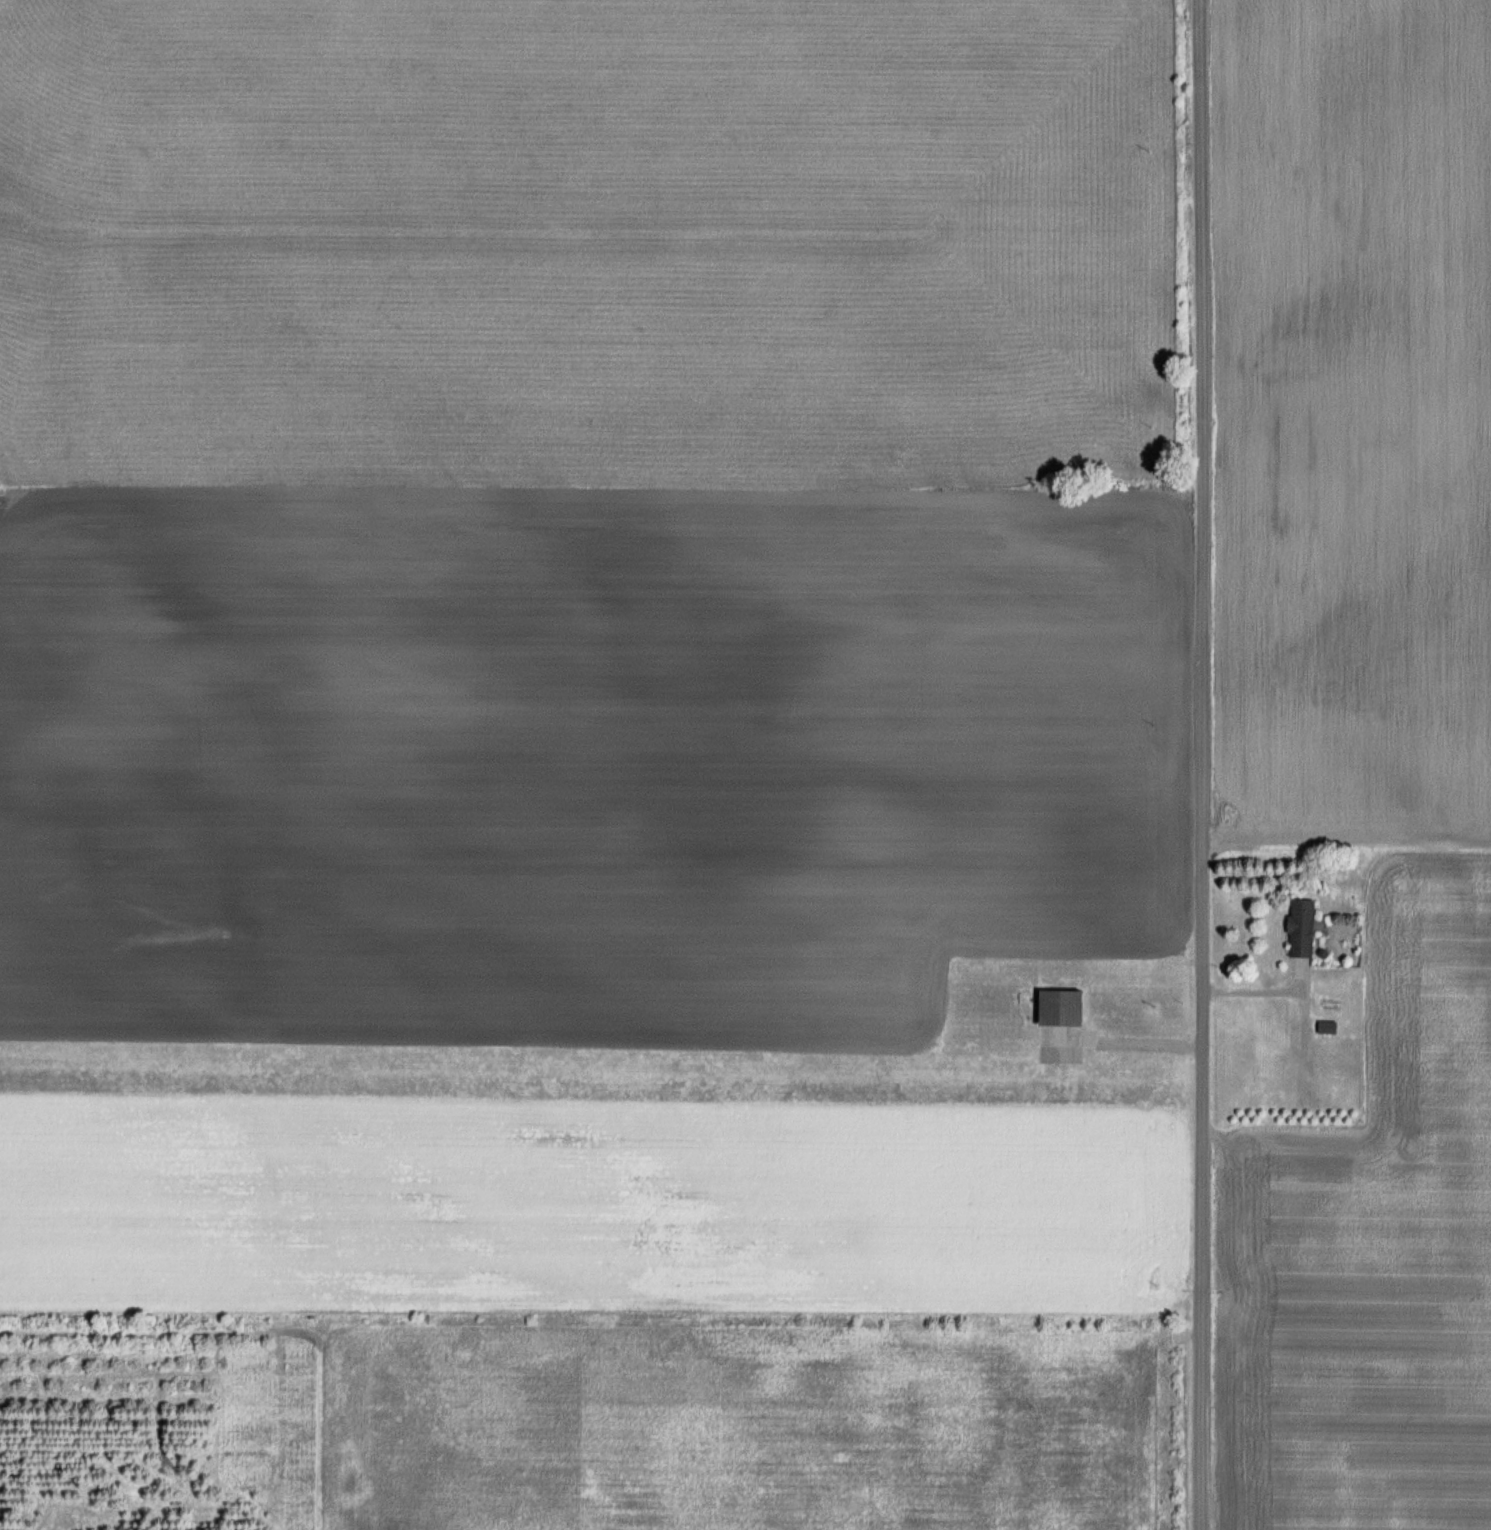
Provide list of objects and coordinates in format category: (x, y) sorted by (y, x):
road: (1206, 764)
building: (1303, 928)
road: (1265, 990)
building: (1062, 1026)
building: (1328, 1026)
road: (1148, 1039)

